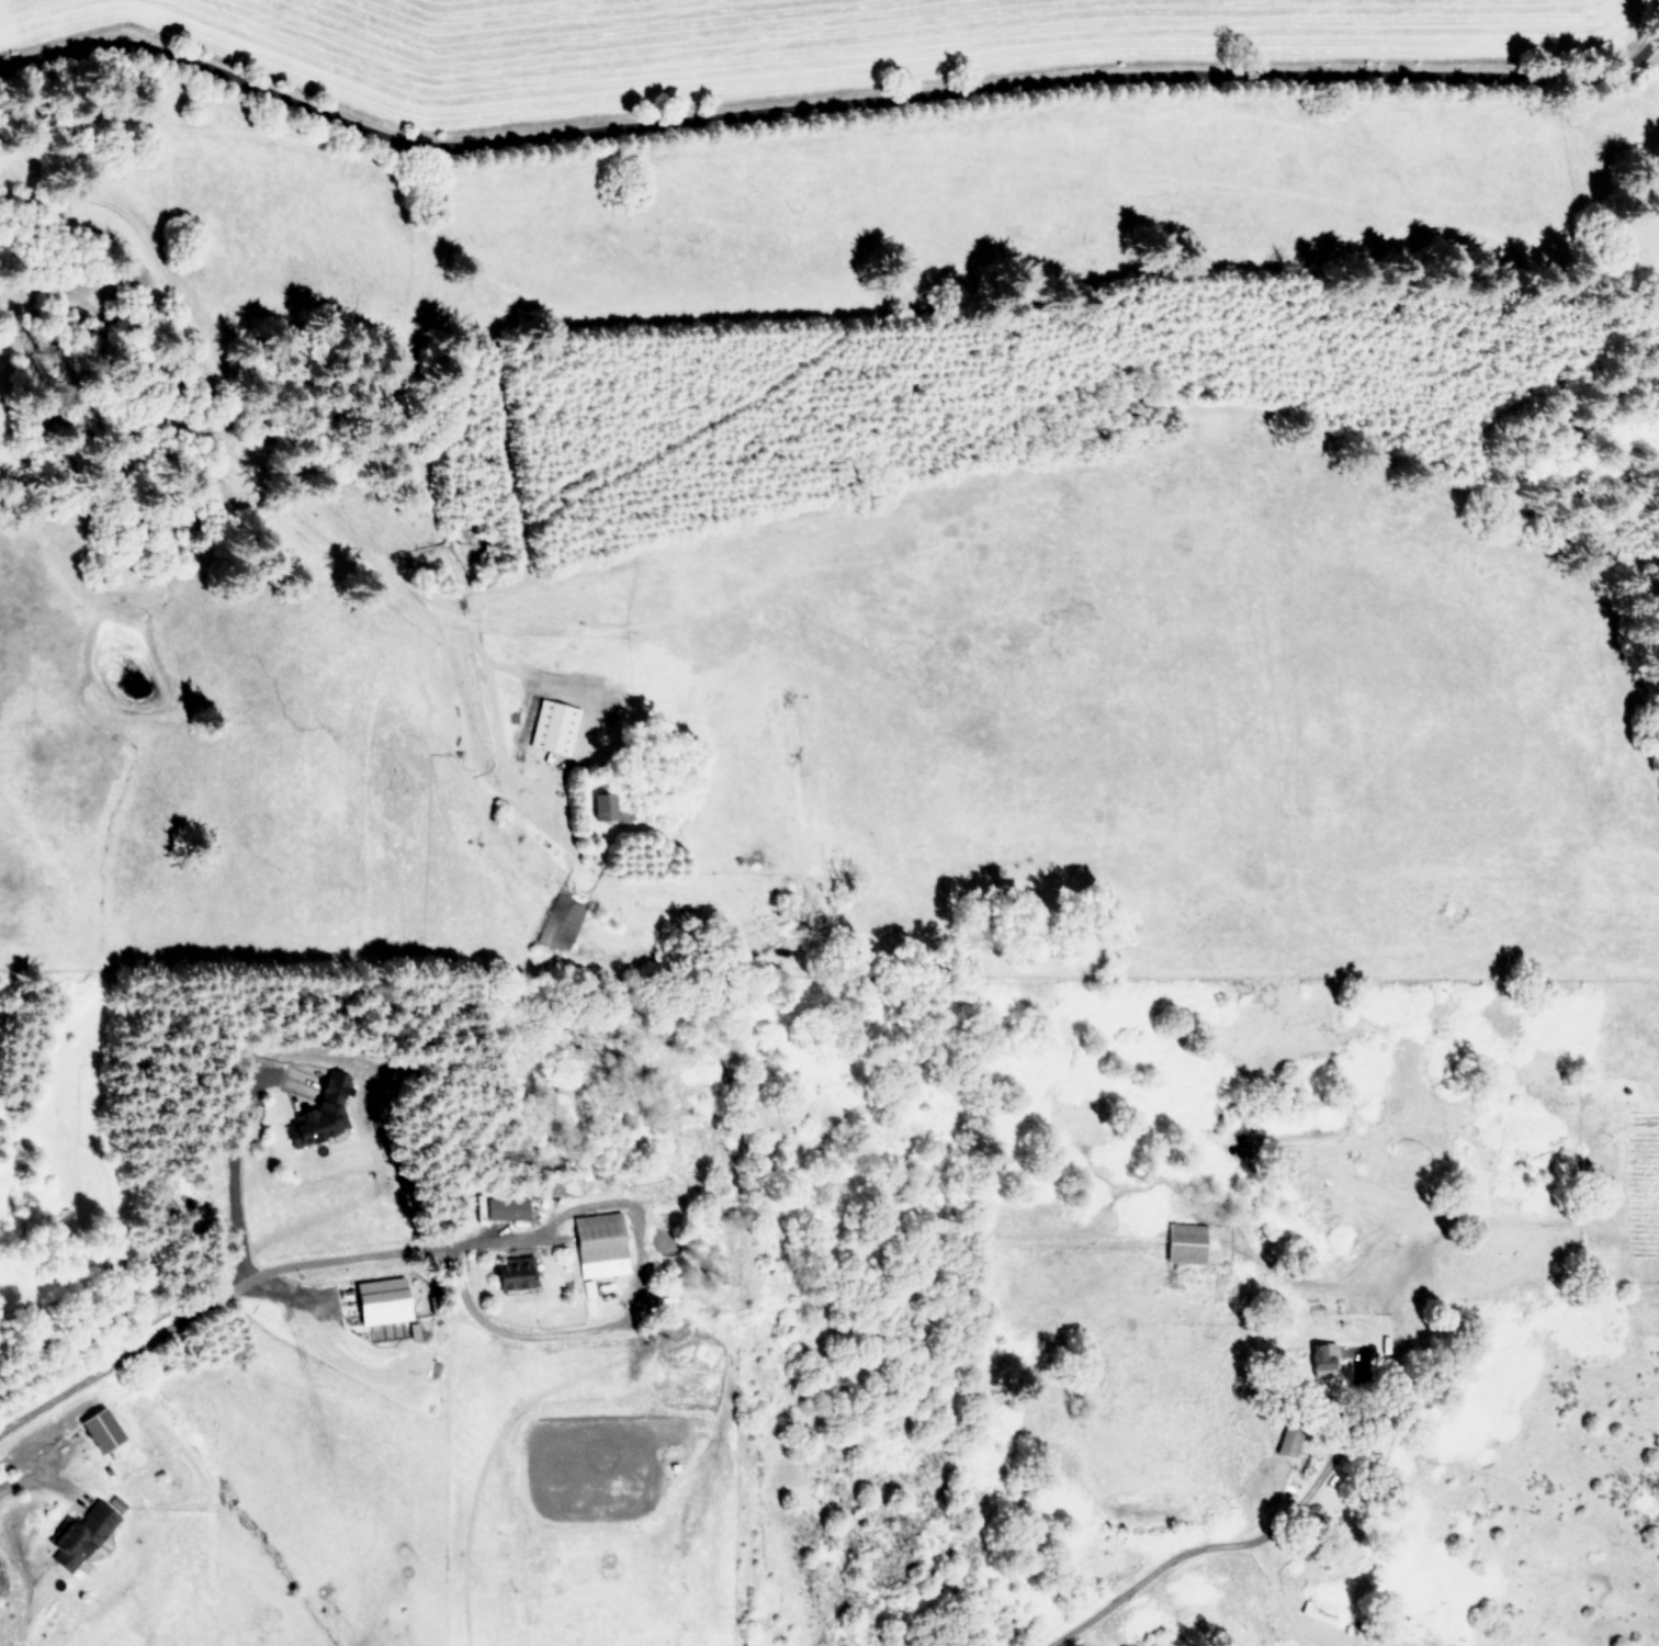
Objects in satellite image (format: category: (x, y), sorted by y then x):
road: (825, 103)
road: (271, 451)
building: (553, 726)
building: (600, 807)
building: (560, 922)
building: (319, 1114)
road: (229, 1163)
building: (506, 1207)
building: (598, 1243)
building: (511, 1273)
road: (633, 1283)
road: (214, 1298)
building: (380, 1299)
building: (1325, 1349)
building: (99, 1429)
road: (1305, 1503)
building: (81, 1532)
road: (1282, 1599)

